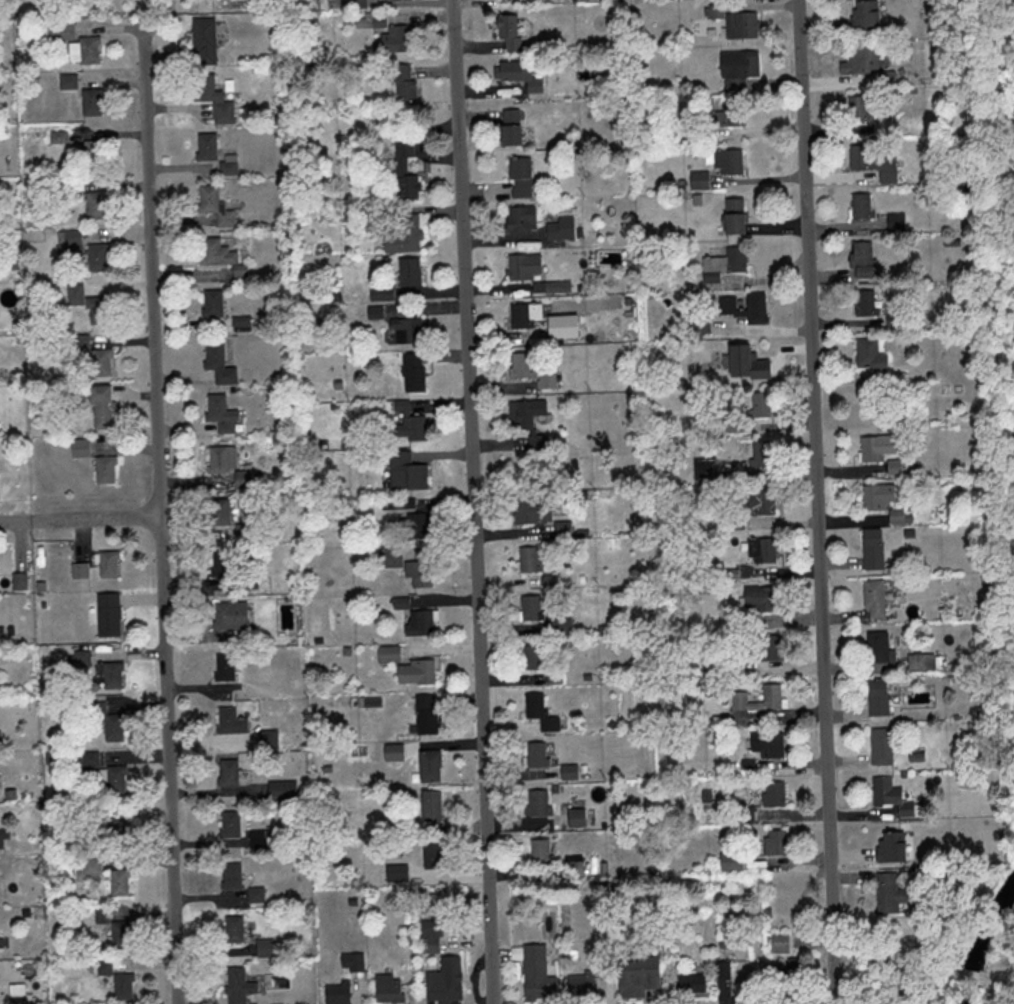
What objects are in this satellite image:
building: (356, 2)
building: (862, 14)
building: (740, 24)
building: (60, 29)
building: (387, 32)
building: (508, 32)
building: (202, 40)
building: (88, 49)
building: (858, 60)
building: (737, 68)
building: (506, 70)
building: (66, 81)
building: (403, 81)
building: (211, 97)
building: (90, 101)
building: (856, 109)
building: (728, 114)
building: (509, 126)
building: (204, 146)
building: (92, 154)
building: (861, 158)
building: (724, 160)
building: (227, 166)
building: (403, 169)
building: (519, 176)
road: (762, 179)
building: (698, 180)
building: (94, 205)
building: (860, 205)
building: (213, 206)
building: (732, 215)
building: (519, 218)
building: (894, 220)
building: (559, 228)
building: (402, 234)
building: (71, 241)
building: (215, 253)
building: (96, 257)
building: (735, 258)
building: (859, 259)
building: (523, 265)
building: (408, 271)
building: (380, 292)
building: (211, 303)
building: (862, 303)
building: (743, 307)
building: (97, 310)
building: (523, 314)
building: (404, 330)
road: (767, 330)
park: (998, 350)
building: (868, 355)
building: (99, 362)
building: (745, 362)
building: (217, 363)
building: (531, 369)
building: (412, 372)
building: (759, 405)
building: (99, 407)
building: (524, 413)
building: (220, 414)
building: (407, 424)
building: (540, 443)
building: (79, 447)
building: (868, 449)
building: (760, 453)
building: (225, 464)
building: (894, 467)
building: (103, 470)
building: (406, 472)
road: (818, 500)
road: (475, 501)
building: (761, 501)
building: (880, 501)
building: (525, 511)
building: (218, 512)
road: (159, 515)
road: (80, 519)
building: (410, 525)
building: (561, 529)
building: (871, 548)
building: (764, 550)
building: (219, 563)
building: (106, 564)
building: (78, 570)
building: (417, 574)
building: (873, 598)
building: (759, 599)
building: (529, 608)
building: (107, 614)
building: (229, 616)
building: (417, 623)
building: (876, 646)
building: (767, 647)
building: (531, 657)
building: (919, 660)
building: (223, 666)
building: (414, 671)
building: (111, 675)
building: (770, 696)
building: (876, 696)
building: (539, 712)
building: (424, 713)
building: (229, 721)
building: (112, 728)
building: (766, 744)
building: (880, 746)
building: (391, 751)
building: (536, 754)
building: (84, 760)
building: (428, 765)
building: (226, 772)
building: (114, 779)
building: (280, 789)
building: (773, 794)
building: (536, 802)
building: (429, 806)
building: (907, 812)
building: (574, 817)
building: (229, 825)
building: (116, 832)
building: (773, 843)
building: (889, 847)
building: (538, 851)
building: (430, 856)
building: (729, 862)
building: (230, 876)
building: (118, 883)
building: (887, 894)
building: (255, 895)
building: (232, 929)
building: (120, 935)
building: (778, 943)
building: (428, 944)
building: (263, 948)
building: (351, 962)
building: (721, 969)
building: (533, 972)
building: (636, 976)
building: (787, 976)
road: (896, 976)
road: (969, 976)
building: (689, 982)
building: (444, 983)
building: (578, 985)
building: (121, 986)
building: (237, 986)
road: (992, 986)
building: (13, 989)
building: (386, 989)
building: (335, 992)
road: (834, 1002)
building: (886, 1002)

